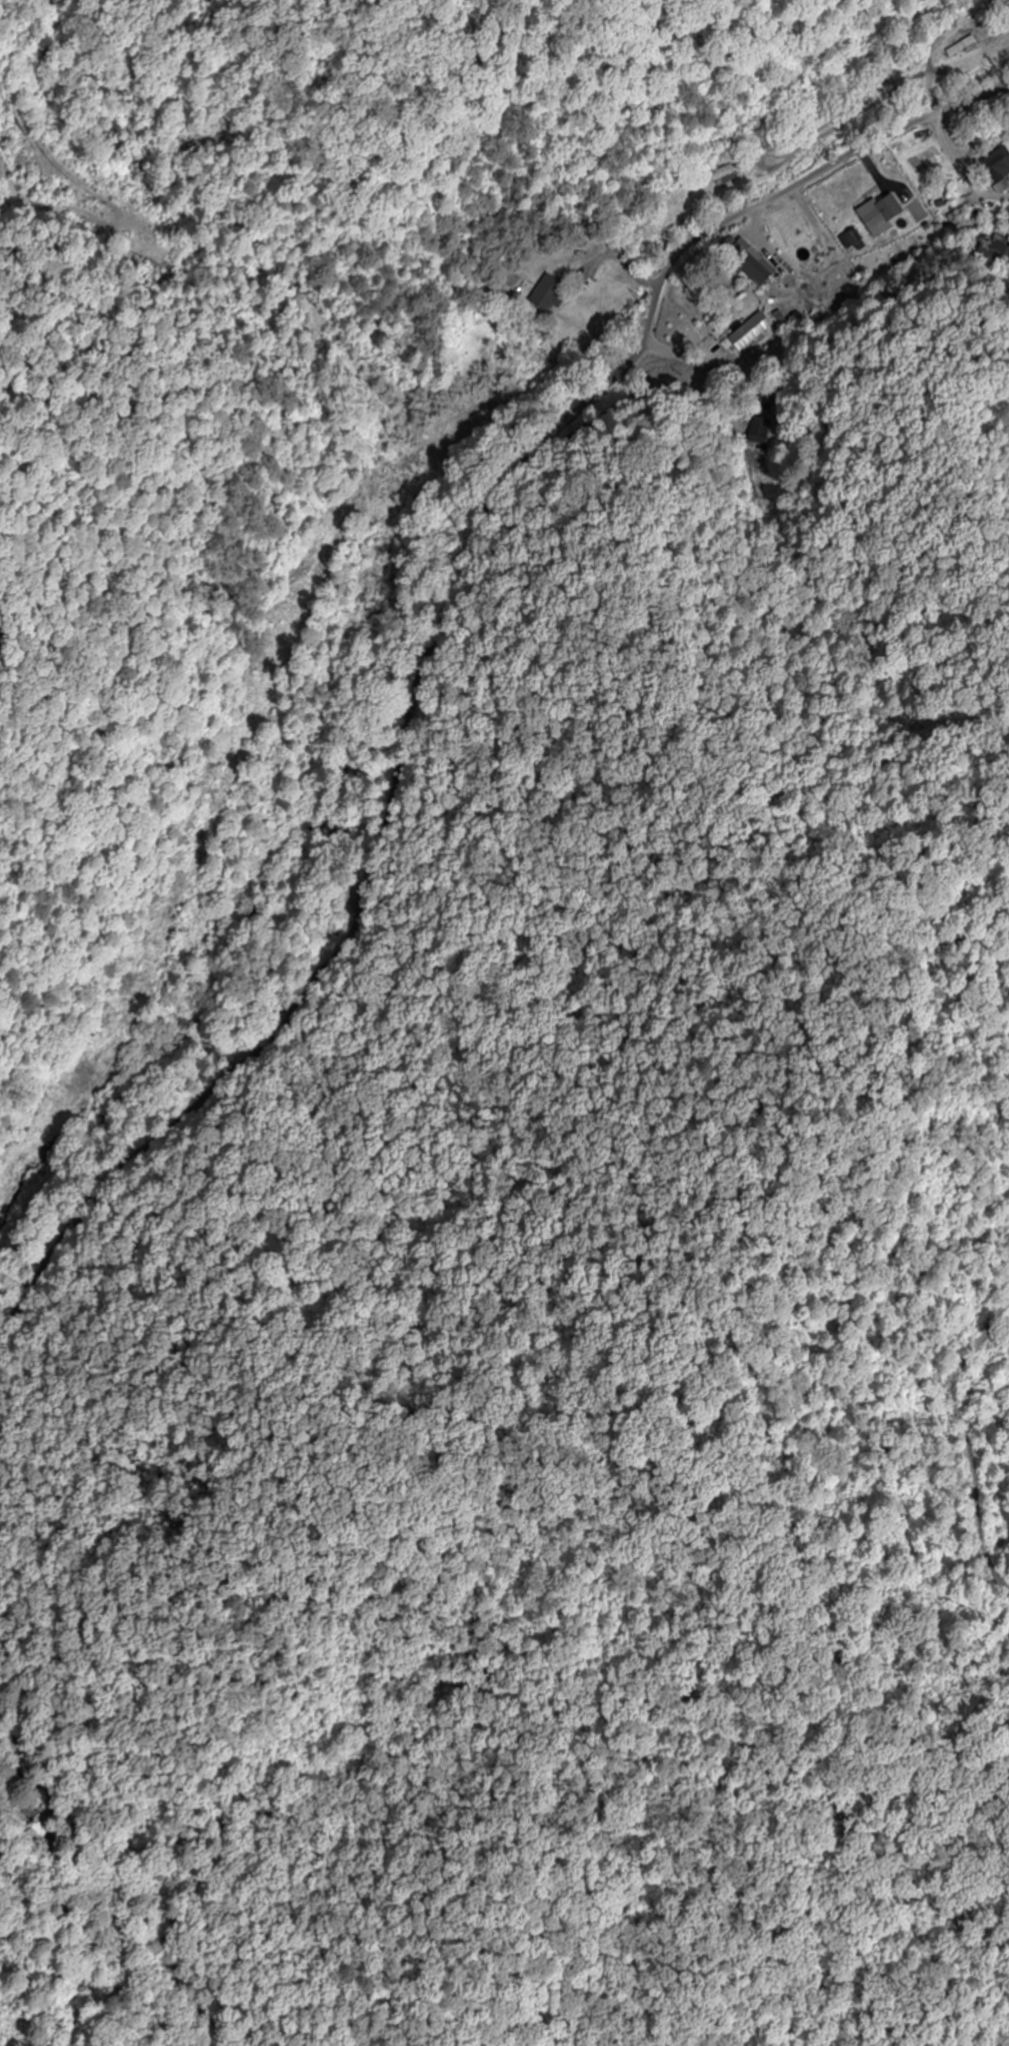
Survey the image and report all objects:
building: (962, 48)
building: (998, 164)
building: (728, 175)
building: (884, 214)
building: (644, 231)
building: (849, 241)
building: (751, 264)
building: (551, 296)
building: (748, 334)
building: (756, 431)
road: (431, 645)

